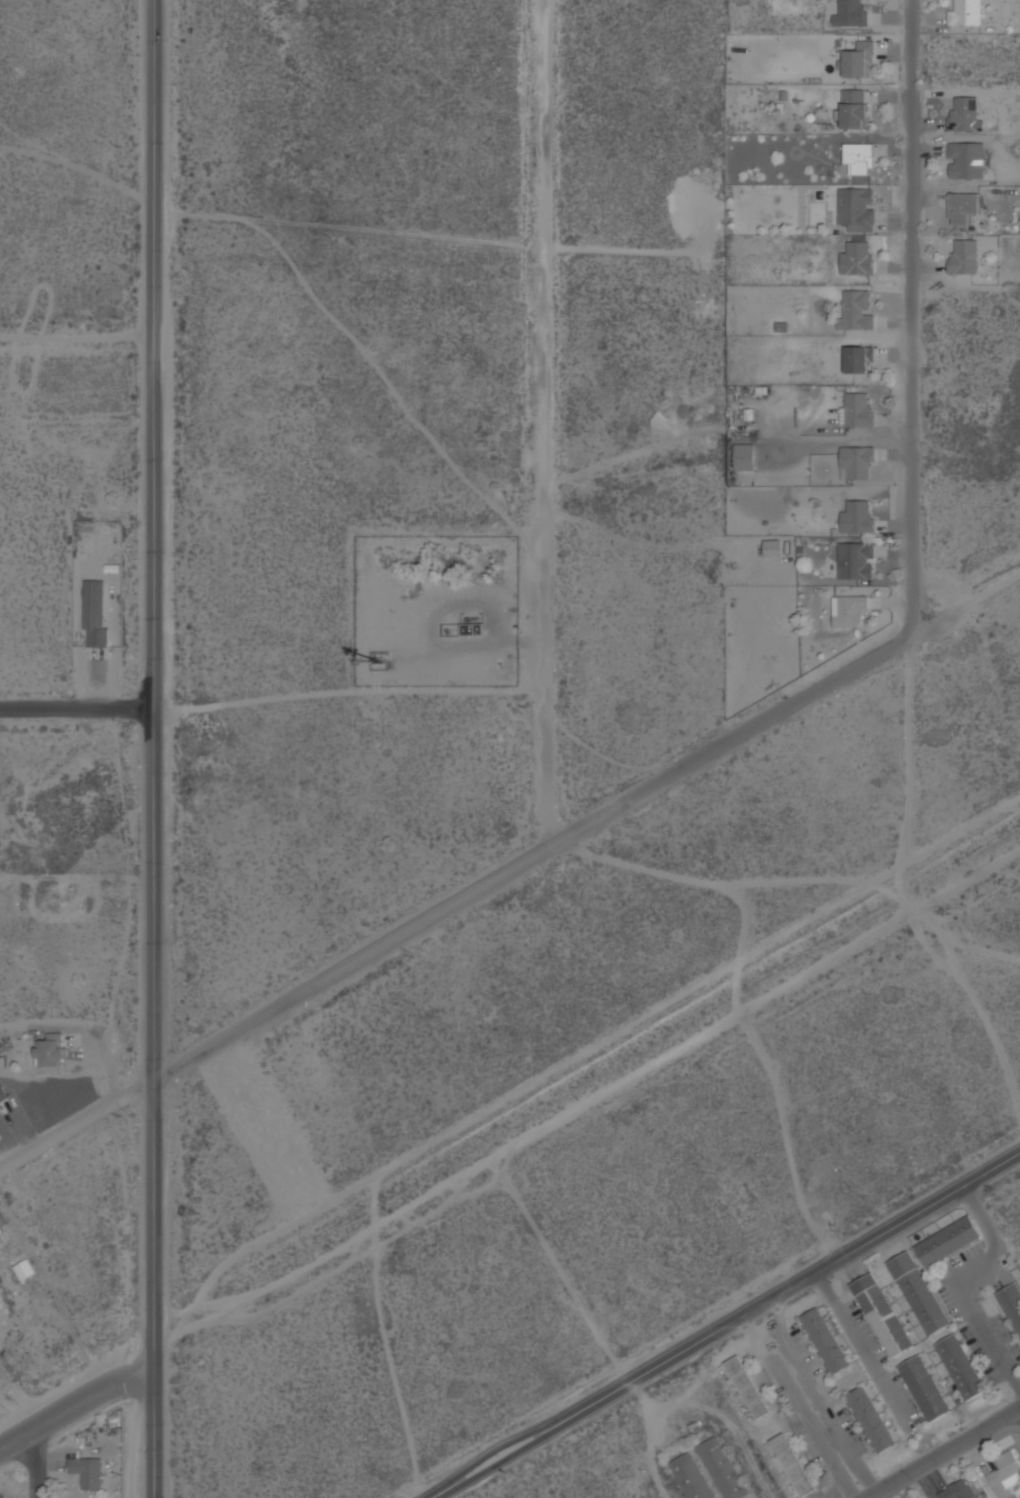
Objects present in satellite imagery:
building: (965, 12)
building: (851, 13)
building: (859, 59)
building: (853, 108)
building: (964, 114)
building: (856, 160)
building: (965, 160)
building: (855, 208)
building: (963, 209)
building: (856, 257)
building: (963, 257)
building: (857, 309)
road: (912, 317)
road: (77, 334)
building: (858, 357)
building: (856, 409)
road: (542, 425)
building: (744, 457)
building: (857, 463)
building: (857, 517)
building: (772, 547)
building: (855, 560)
building: (849, 611)
building: (94, 613)
building: (472, 629)
road: (77, 707)
road: (153, 749)
road: (586, 825)
road: (903, 833)
building: (50, 1050)
building: (2, 1094)
road: (585, 1102)
road: (76, 1124)
building: (3, 1222)
building: (946, 1241)
building: (24, 1269)
building: (918, 1292)
building: (1011, 1304)
building: (881, 1314)
road: (726, 1327)
building: (824, 1340)
road: (859, 1345)
building: (960, 1366)
building: (747, 1386)
building: (924, 1388)
road: (821, 1398)
road: (76, 1404)
building: (870, 1419)
road: (942, 1452)
road: (37, 1463)
building: (792, 1464)
building: (721, 1468)
building: (86, 1471)
building: (1005, 1474)
building: (691, 1476)
building: (957, 1490)

